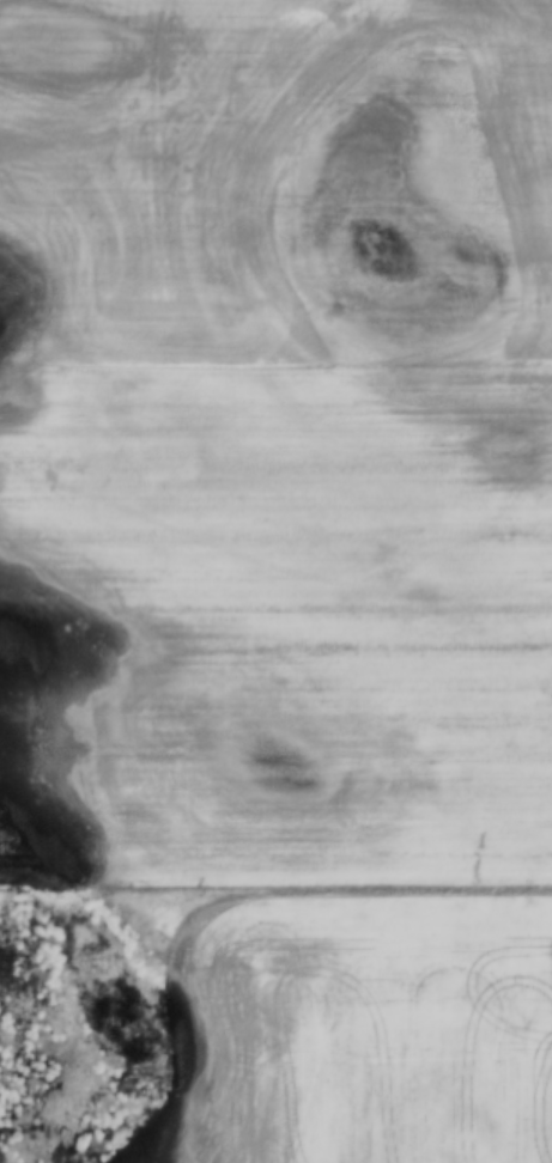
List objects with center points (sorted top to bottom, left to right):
crop: (275, 568)

